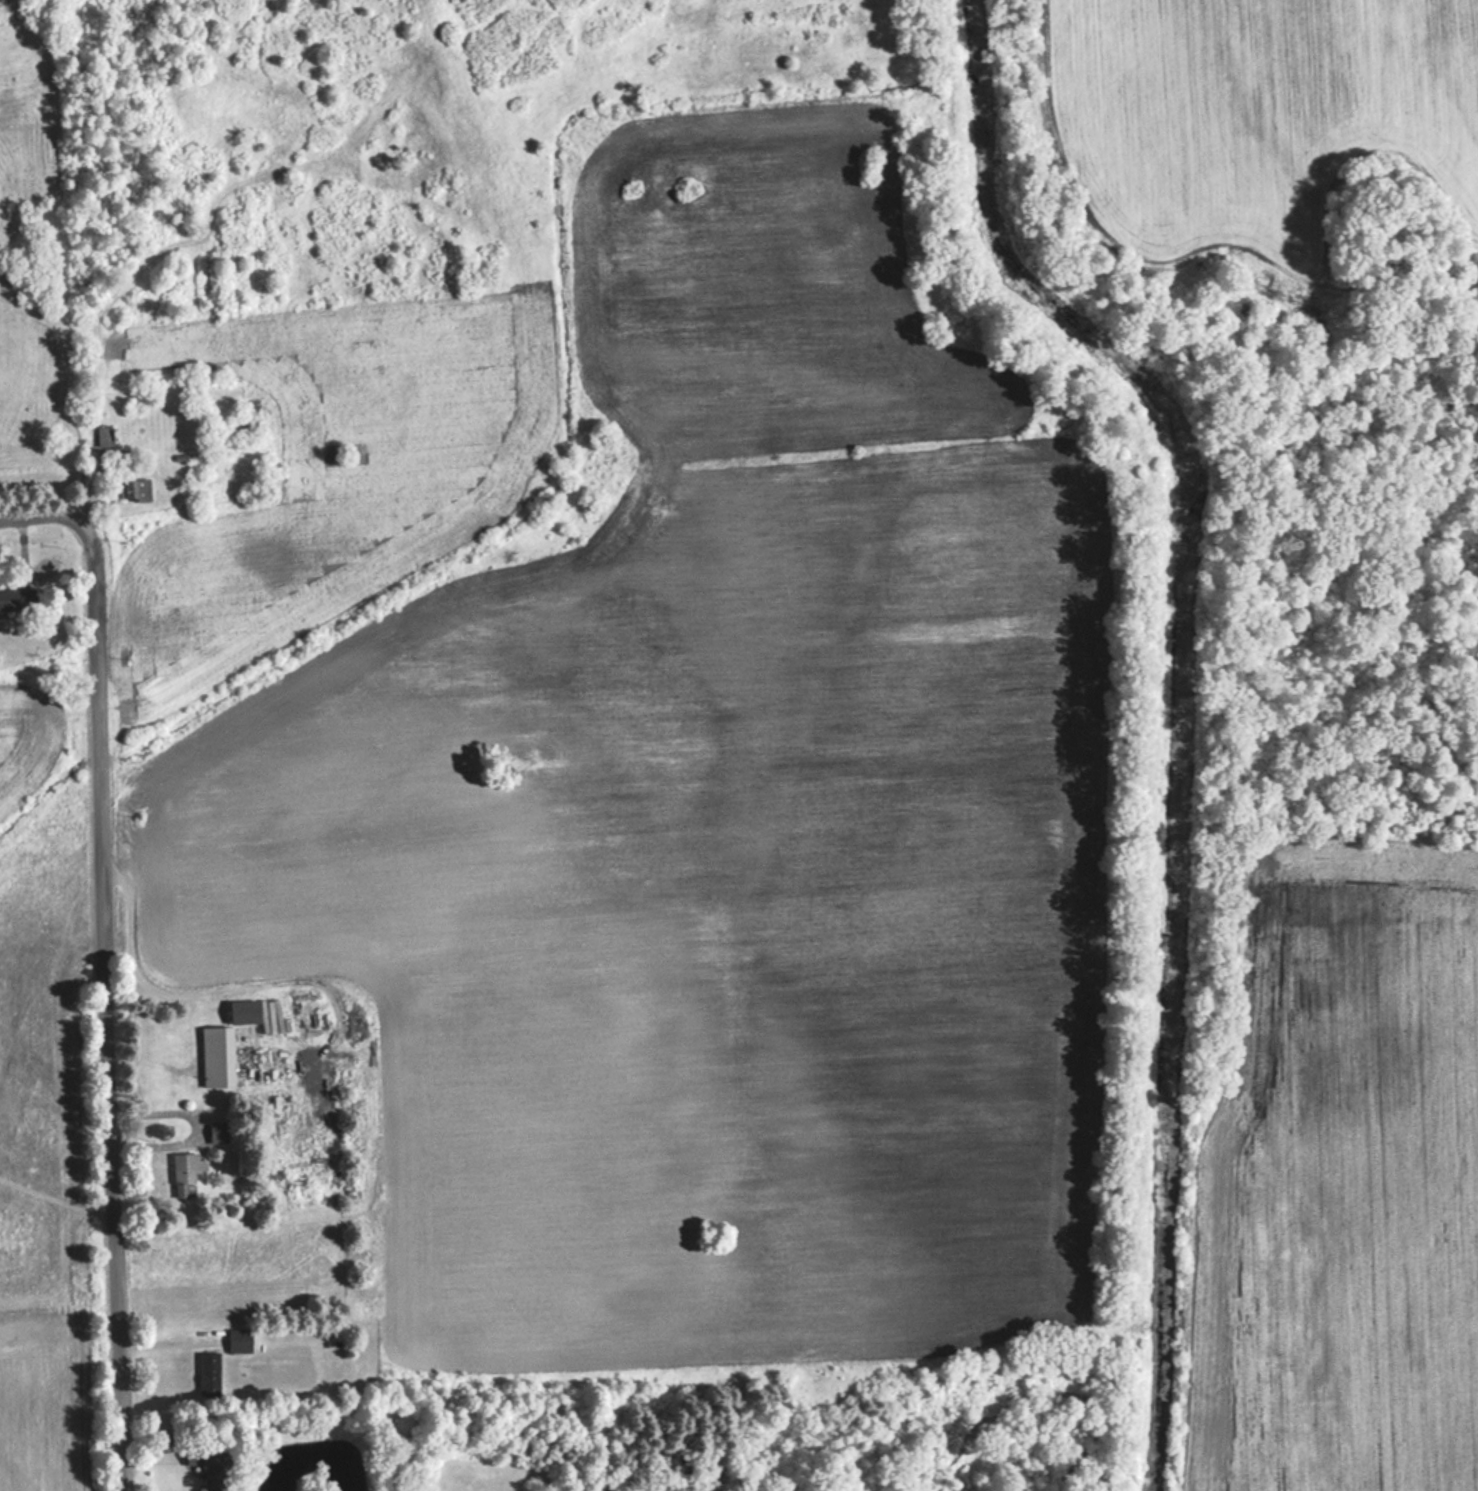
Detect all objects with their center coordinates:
building: (104, 435)
building: (135, 490)
road: (45, 513)
building: (18, 598)
road: (206, 991)
road: (111, 1004)
building: (217, 1056)
building: (217, 1132)
building: (185, 1171)
building: (239, 1340)
building: (208, 1373)
building: (211, 1466)

